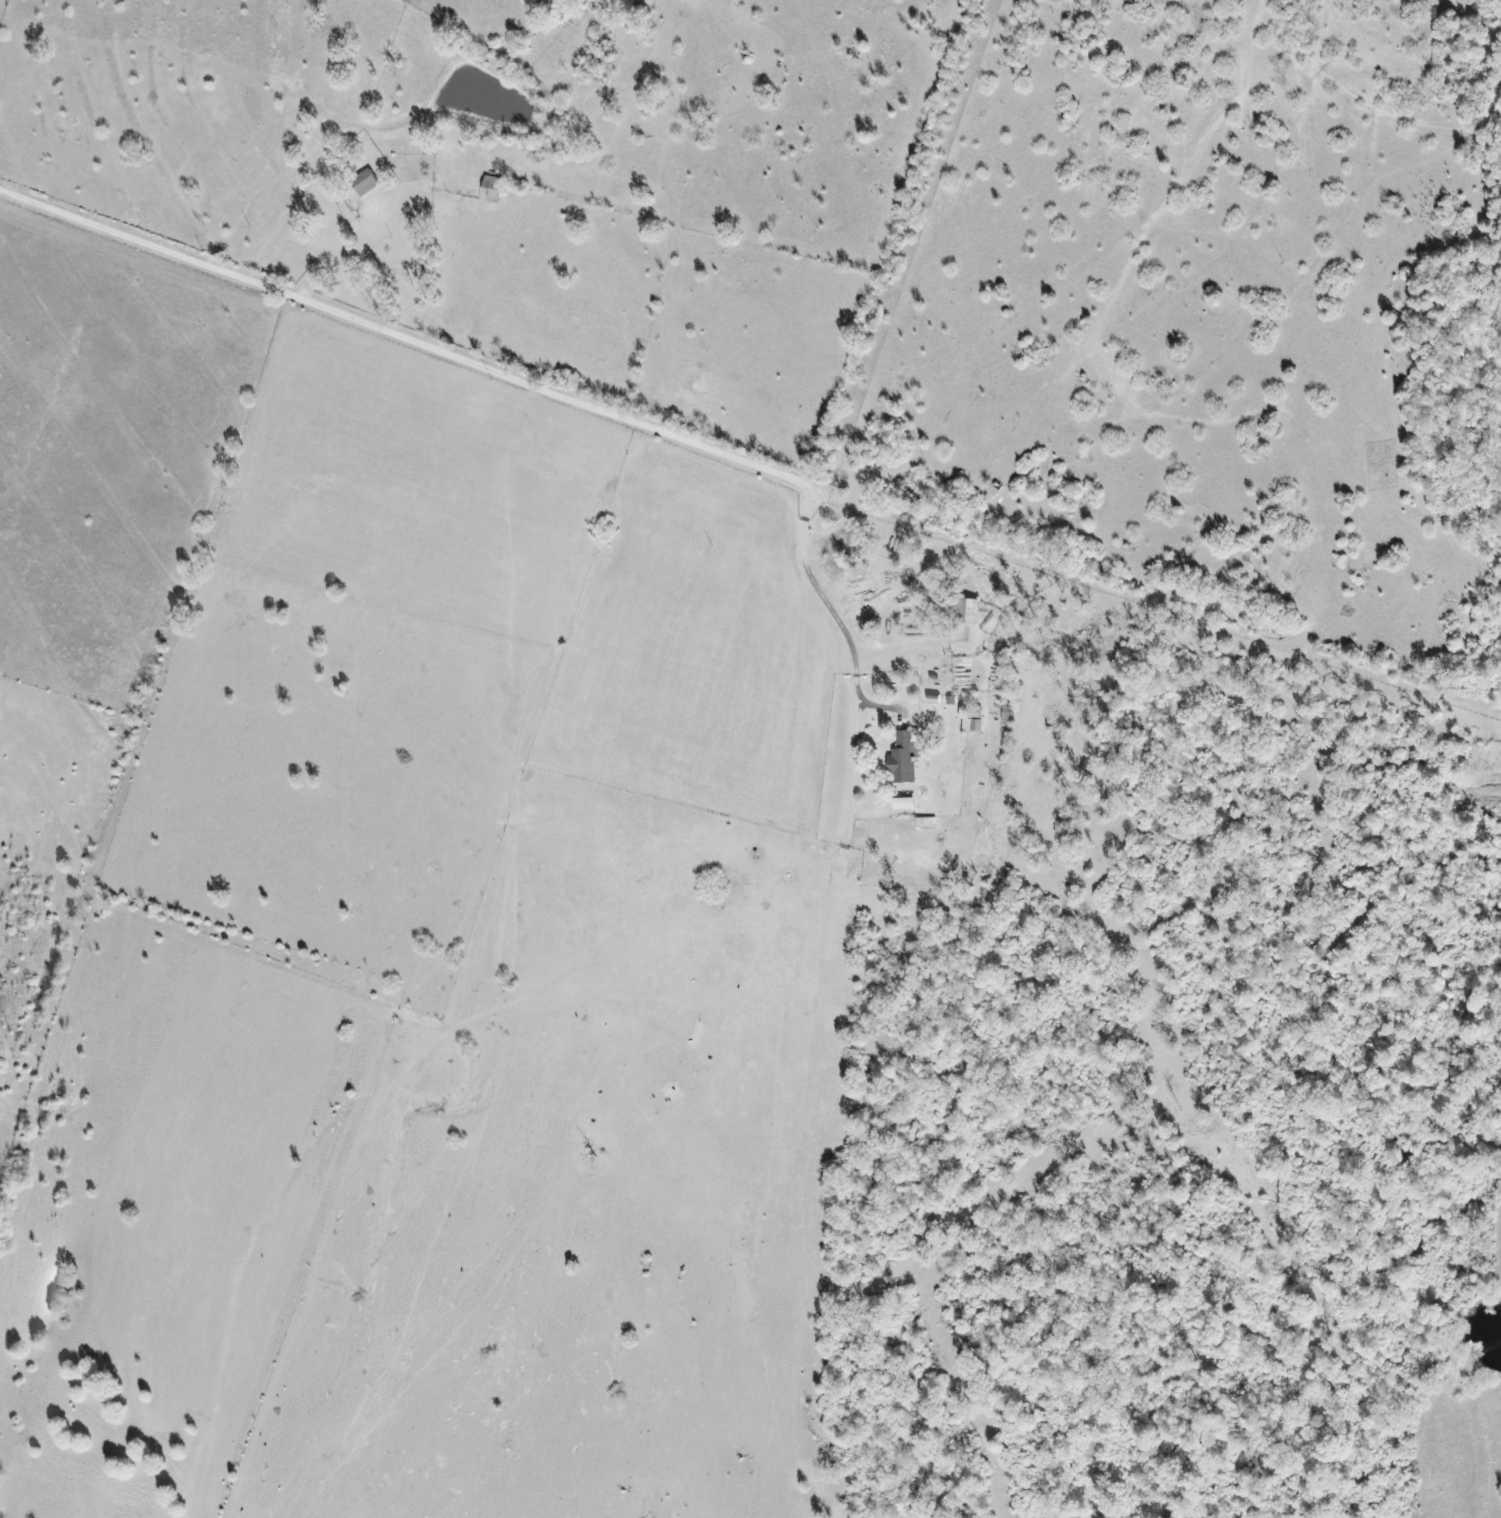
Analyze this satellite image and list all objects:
building: (366, 184)
building: (494, 187)
road: (389, 340)
building: (973, 613)
building: (977, 726)
building: (904, 758)
building: (905, 804)

